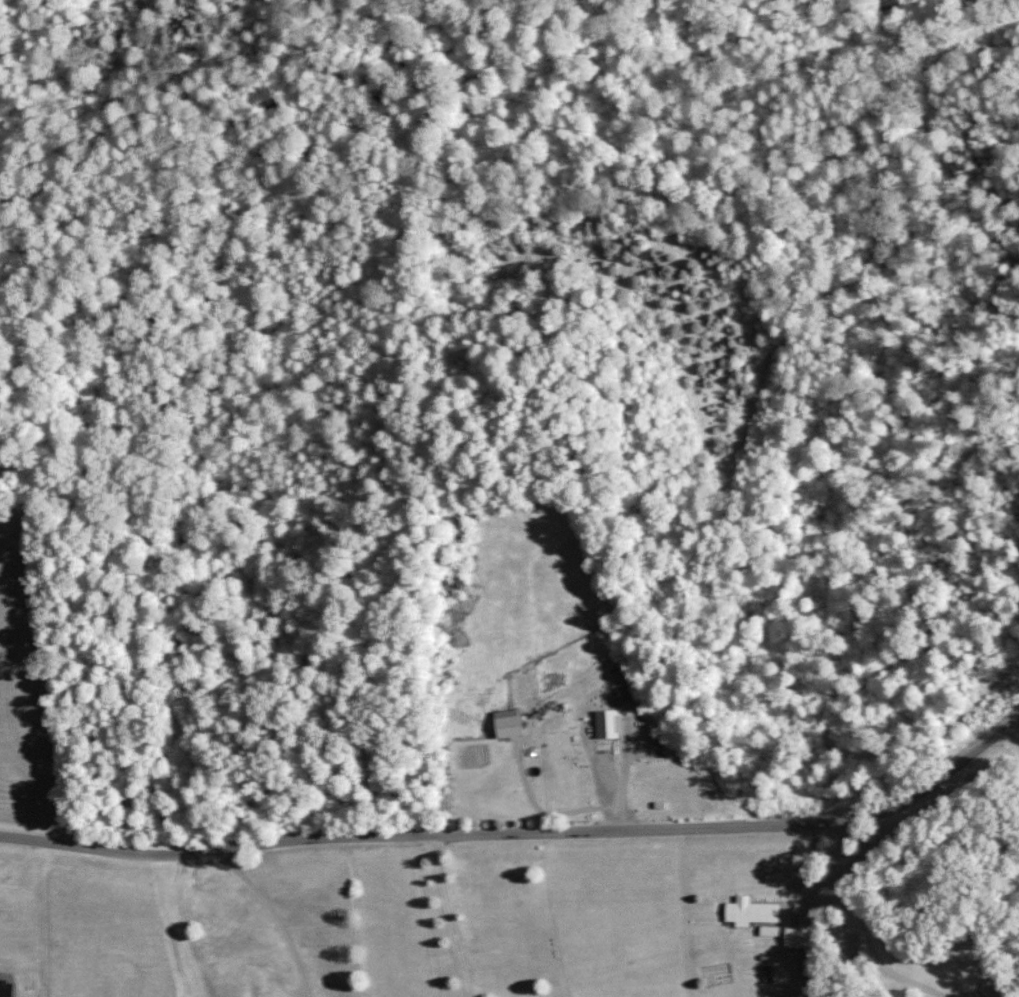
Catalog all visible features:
road: (524, 830)
building: (748, 911)
road: (447, 915)

